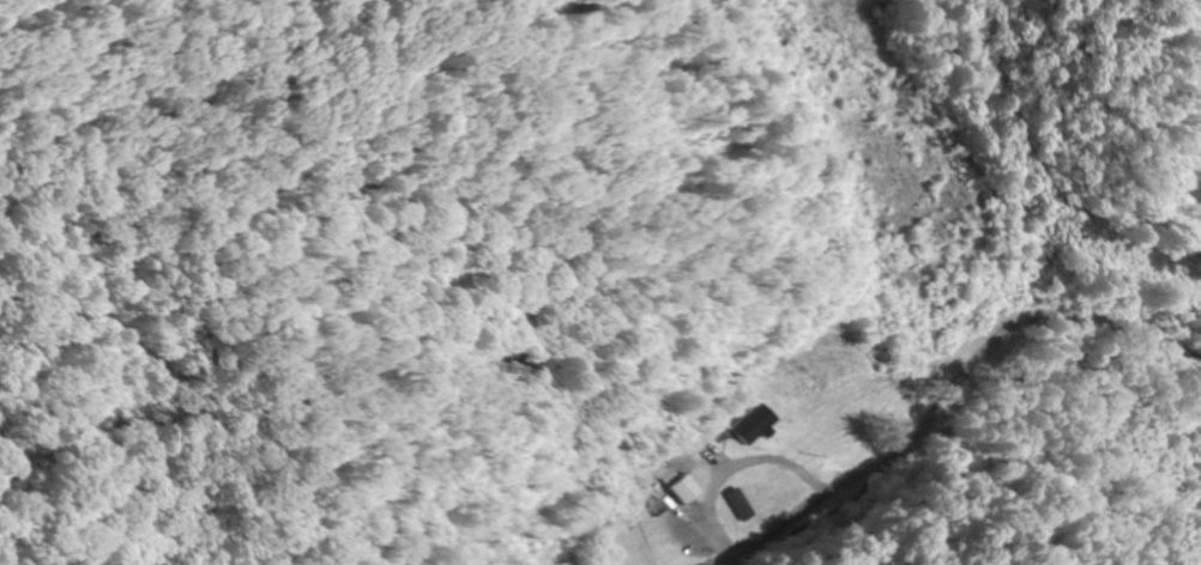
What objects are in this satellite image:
road: (958, 405)
building: (760, 424)
building: (683, 490)
building: (738, 504)

